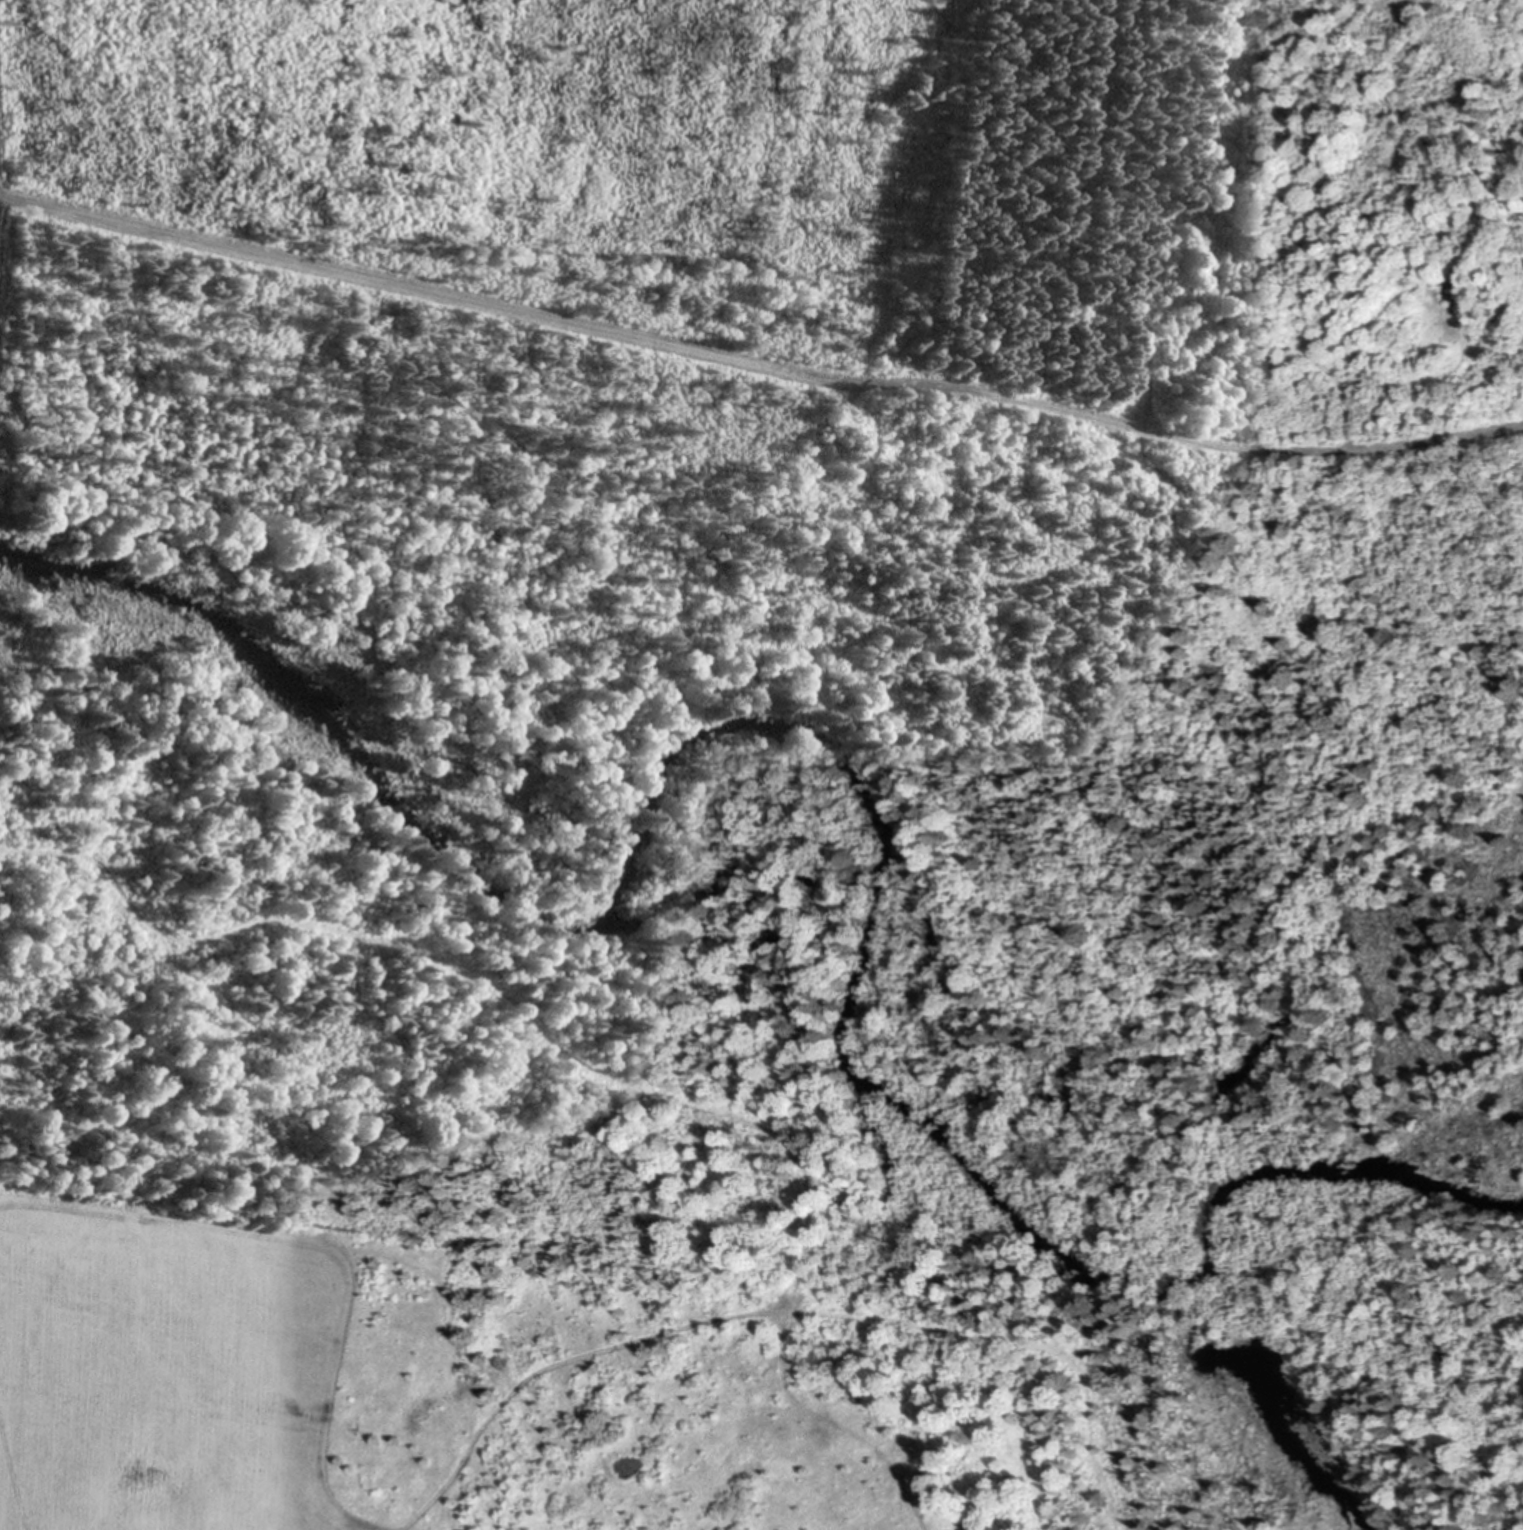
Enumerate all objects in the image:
road: (757, 362)
river: (681, 760)
river: (1356, 1178)

